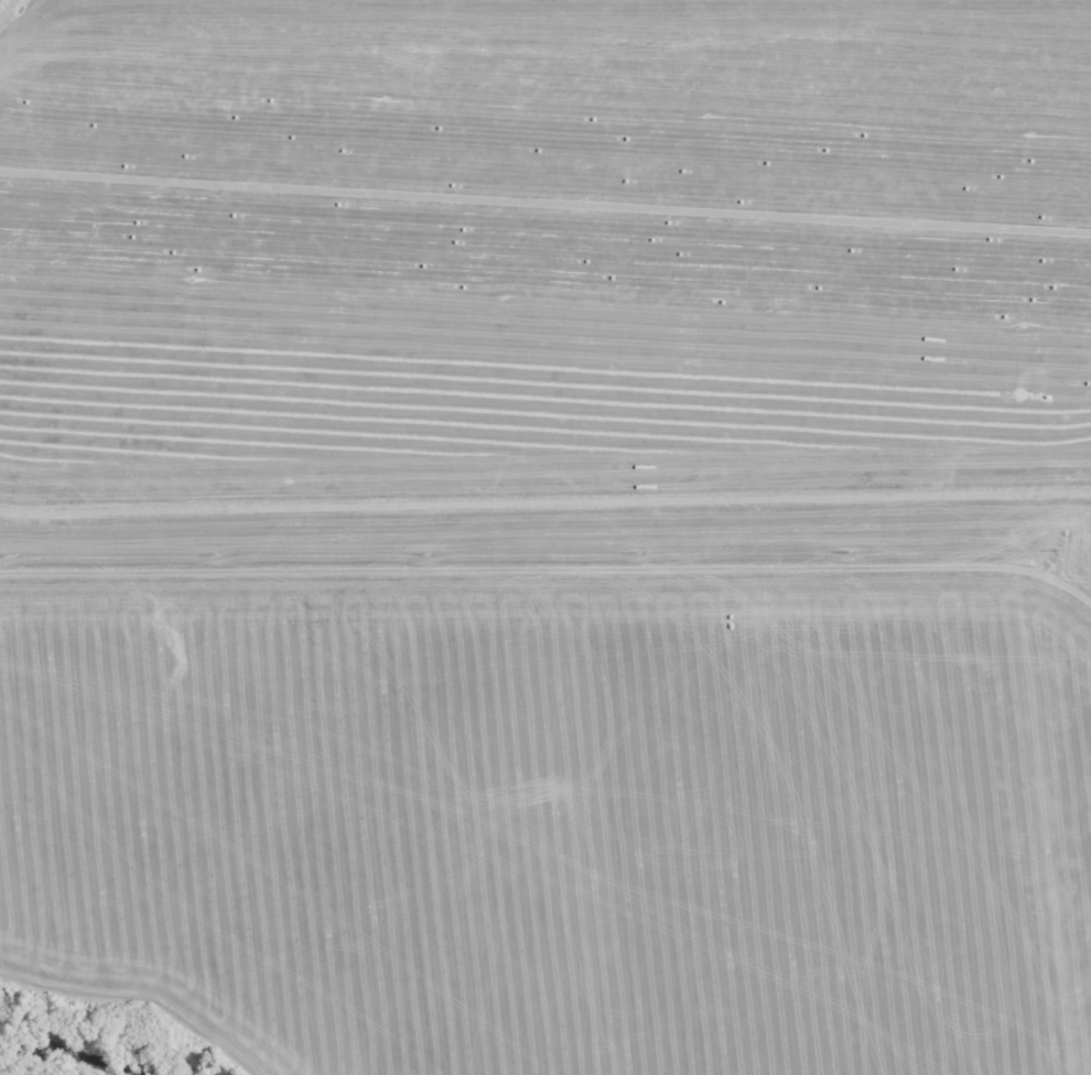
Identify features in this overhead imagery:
road: (473, 358)

